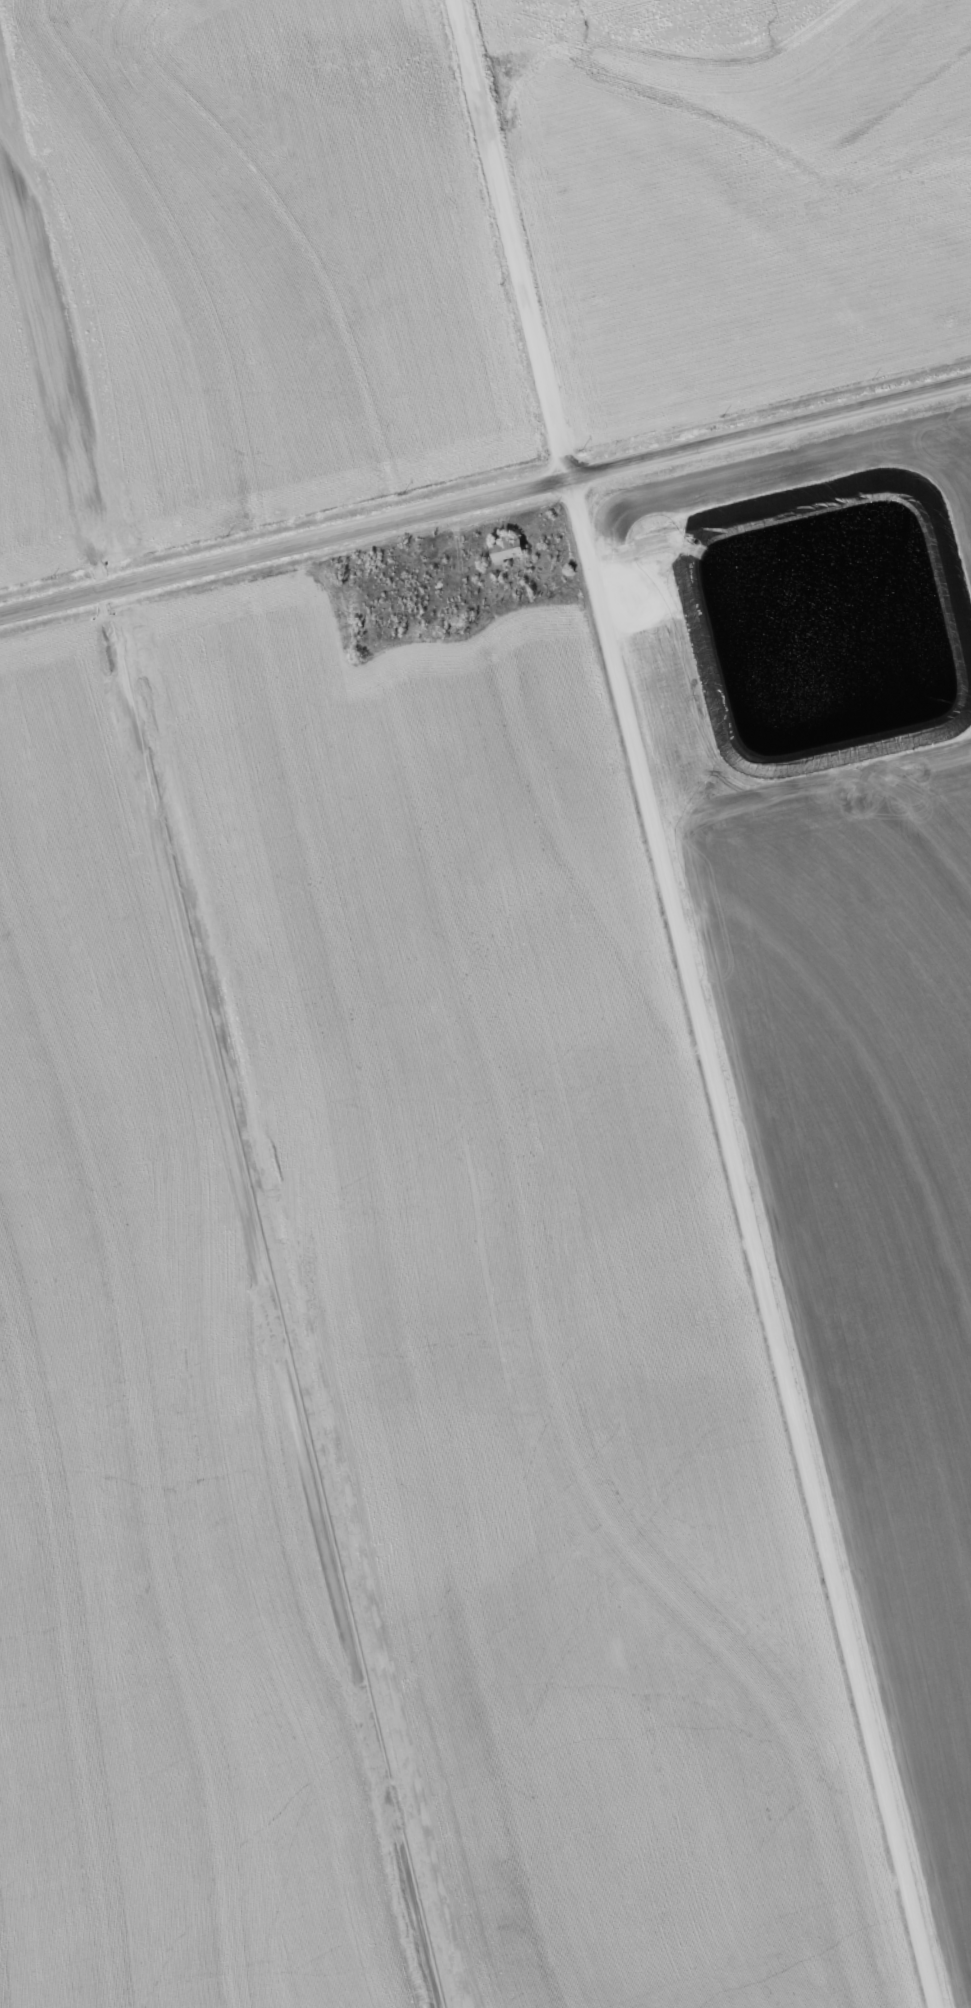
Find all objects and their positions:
road: (485, 496)
road: (700, 1003)

